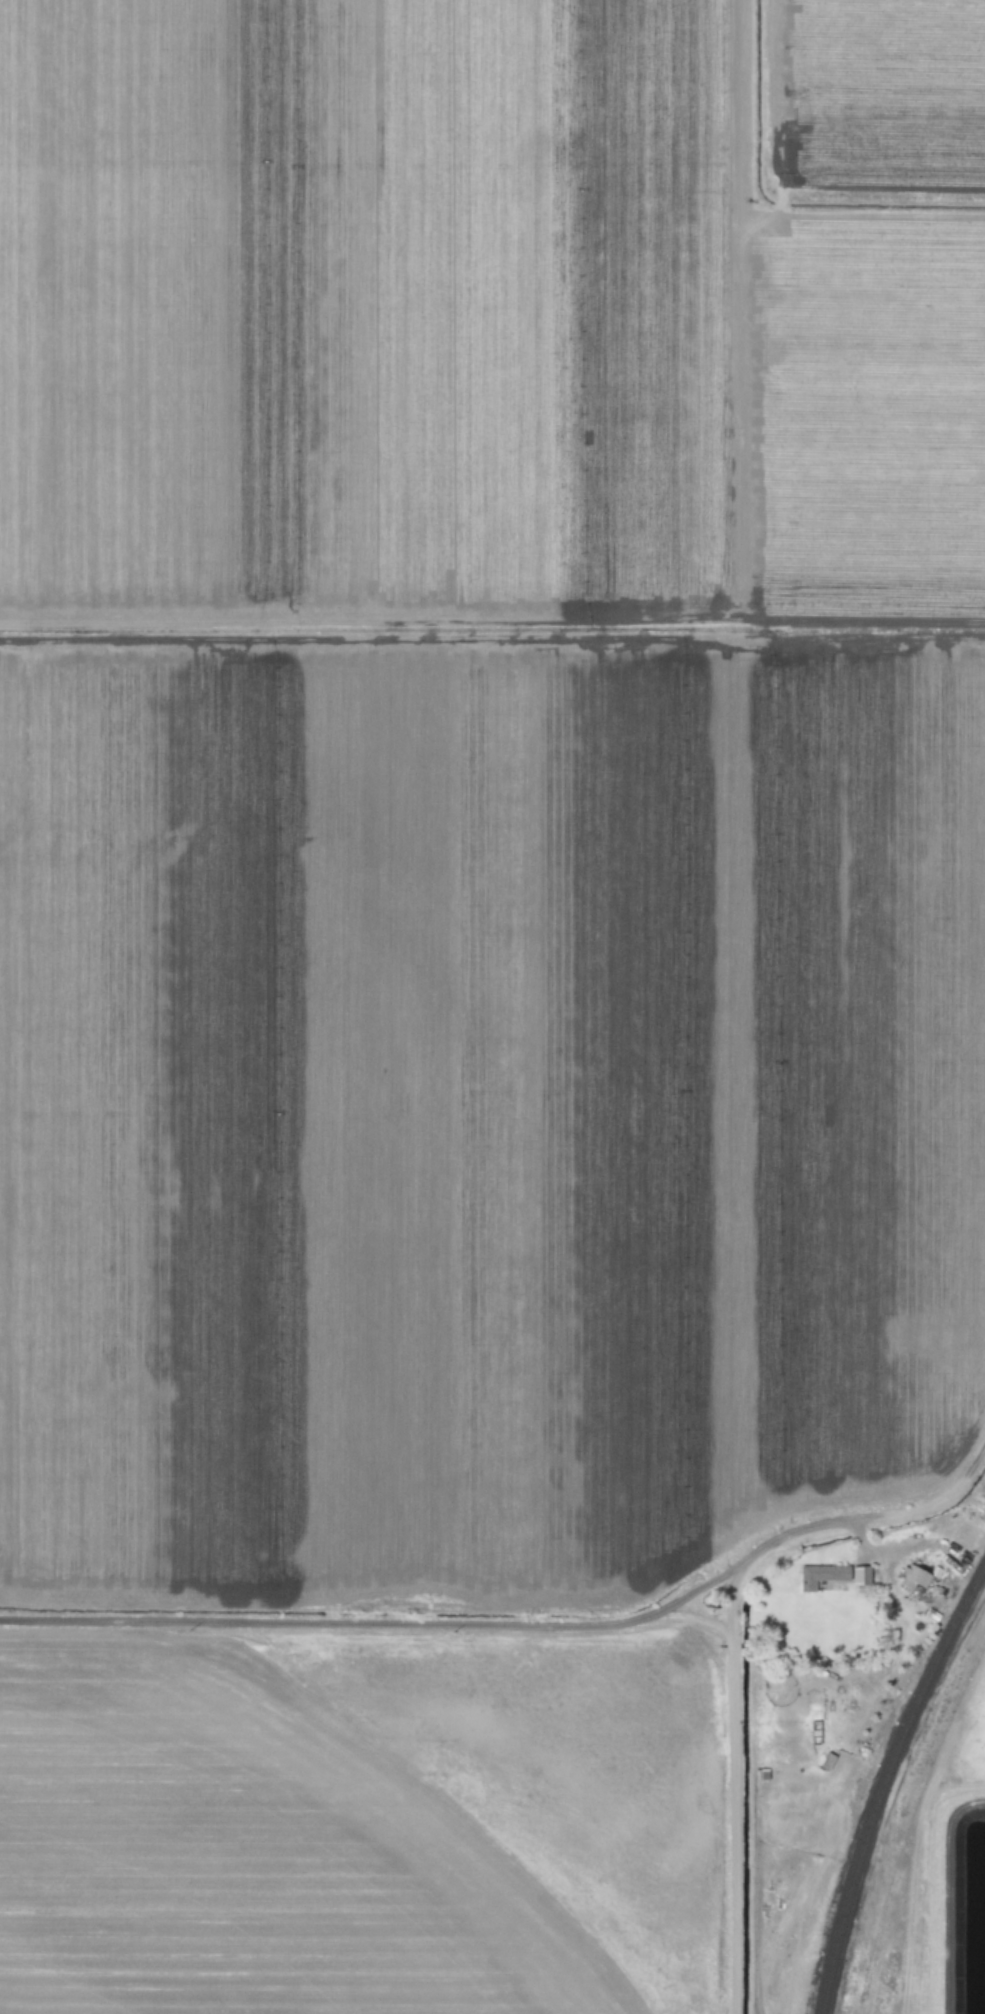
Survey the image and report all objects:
crop: (486, 792)
road: (737, 1558)
building: (832, 1575)
building: (912, 1579)
road: (316, 1619)
building: (815, 1732)
building: (707, 1747)
crop: (964, 1749)
railway: (882, 1779)
crop: (192, 1889)

